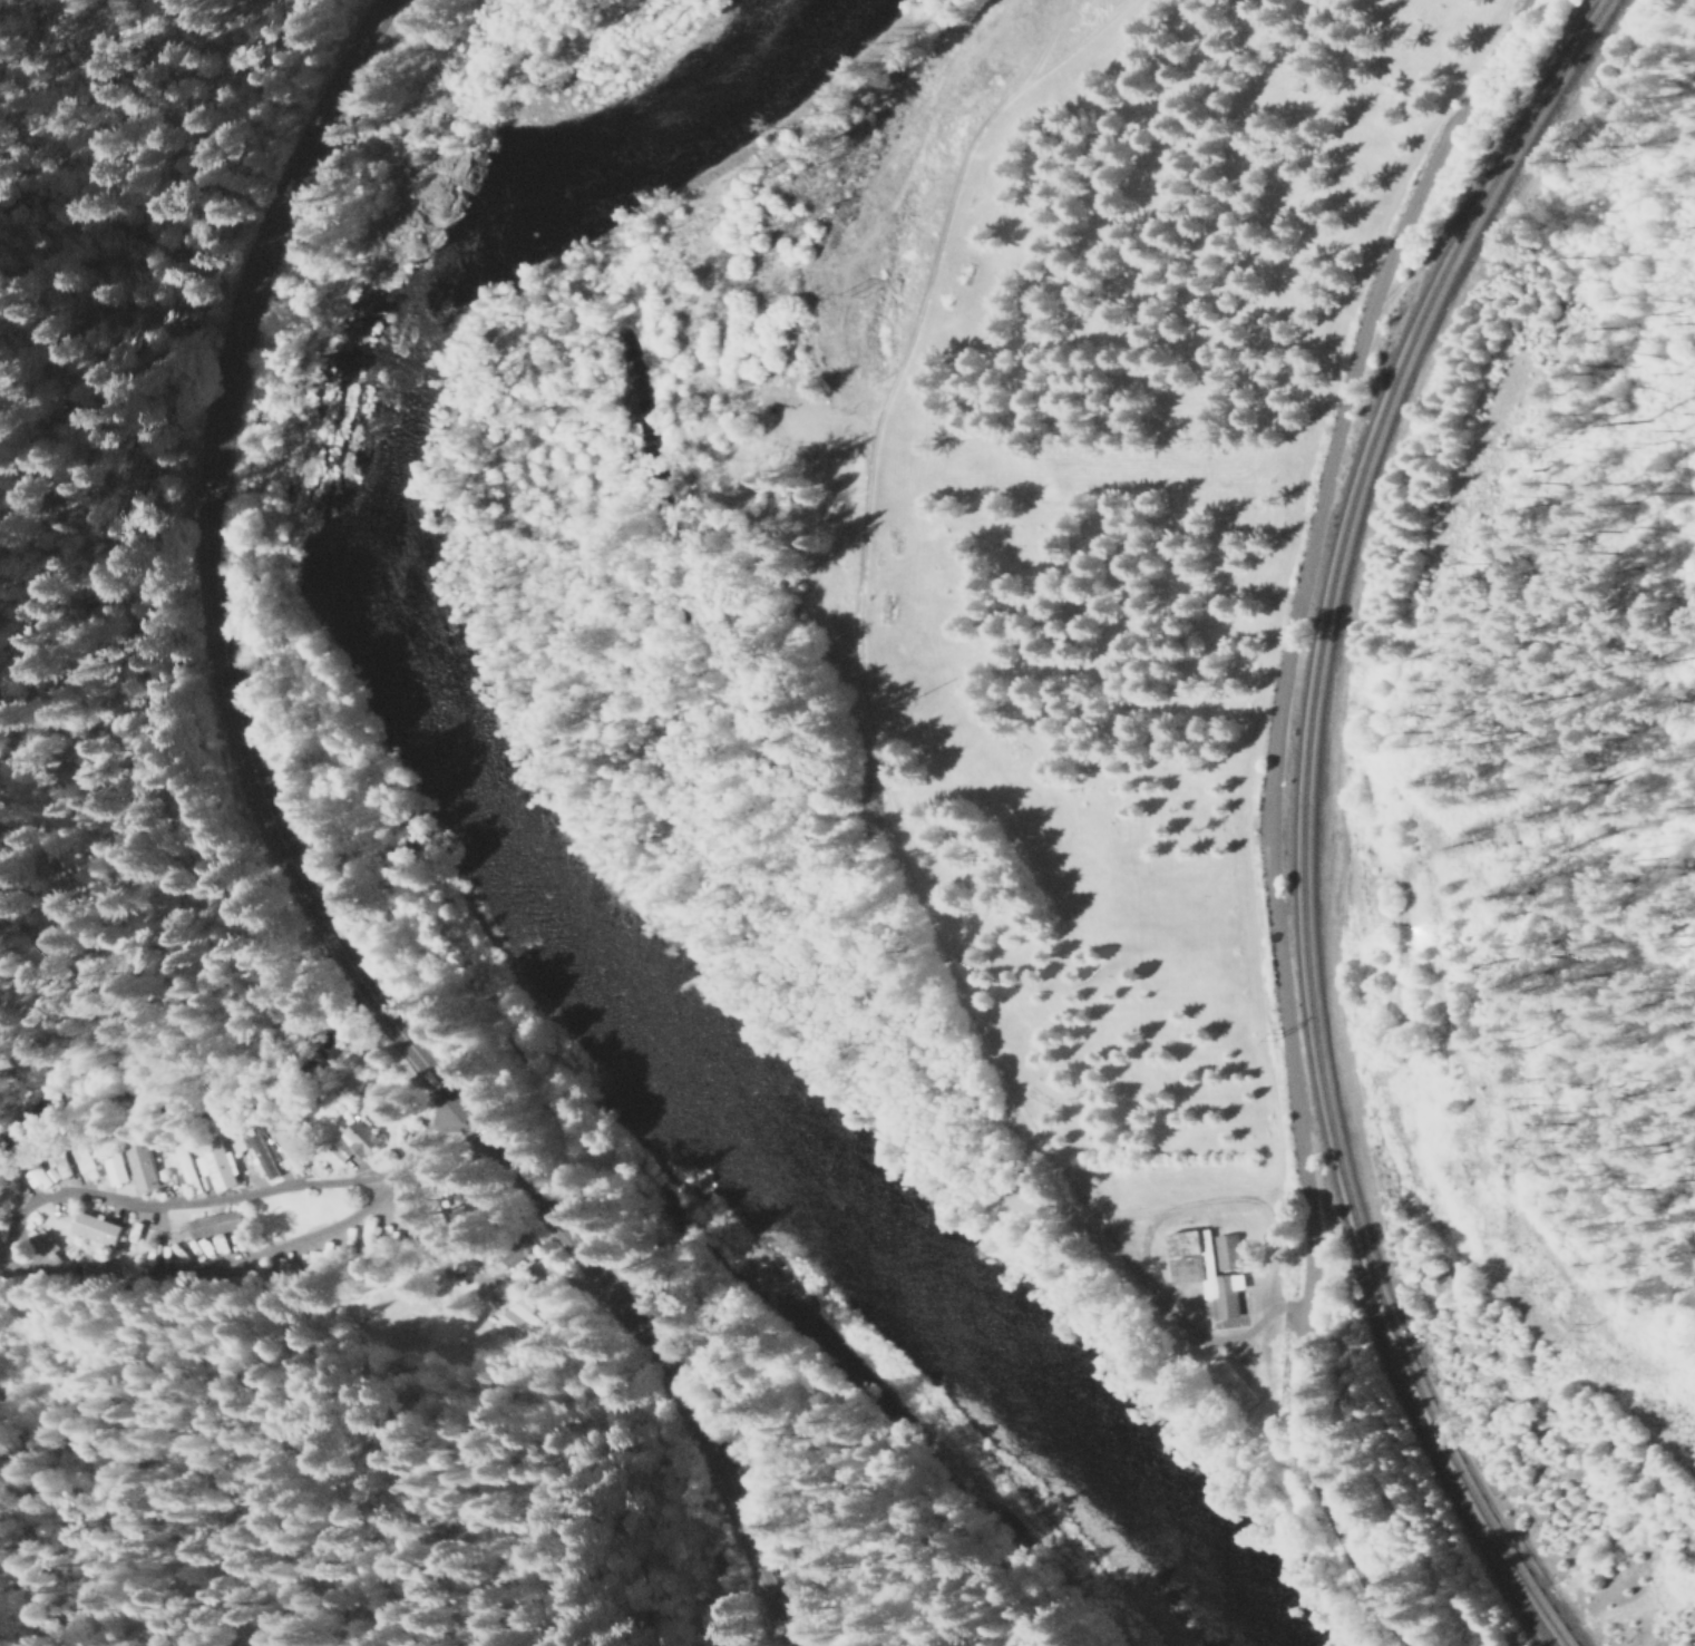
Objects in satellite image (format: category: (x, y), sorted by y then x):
road: (1267, 815)
railway: (1303, 818)
river: (519, 859)
road: (296, 874)
building: (266, 1140)
building: (351, 1142)
building: (235, 1146)
building: (286, 1153)
building: (260, 1159)
building: (81, 1161)
building: (214, 1162)
building: (116, 1165)
building: (58, 1166)
building: (139, 1166)
building: (184, 1169)
building: (33, 1173)
building: (456, 1180)
building: (434, 1198)
building: (3, 1208)
building: (405, 1215)
building: (213, 1224)
building: (94, 1229)
building: (364, 1237)
building: (46, 1248)
road: (9, 1251)
building: (508, 1253)
building: (39, 1259)
building: (1202, 1268)
building: (100, 1272)
building: (519, 1313)
building: (504, 1325)
building: (1231, 1383)
road: (401, 1436)

